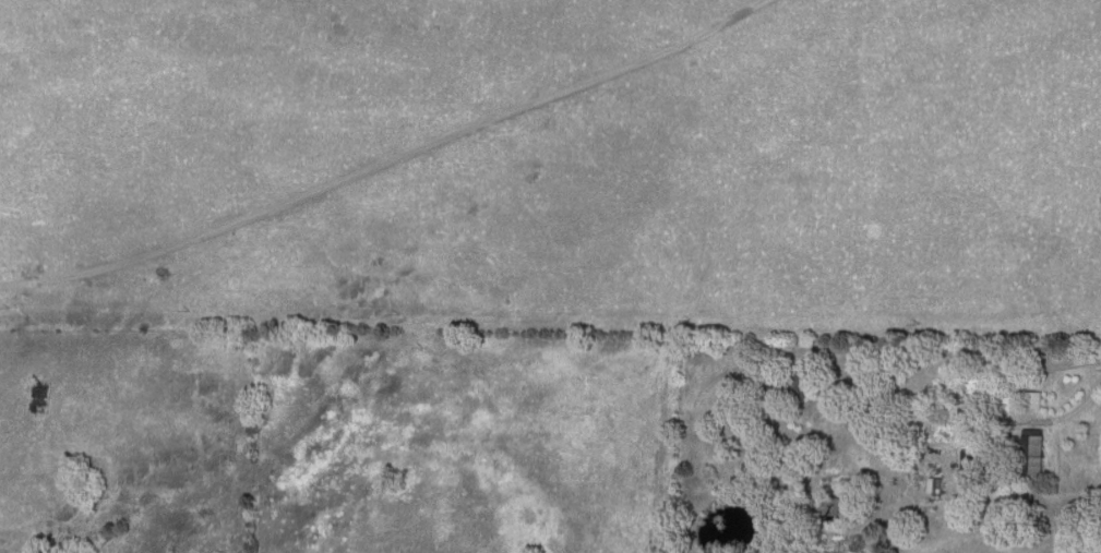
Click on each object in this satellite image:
road: (1009, 401)
building: (934, 489)

